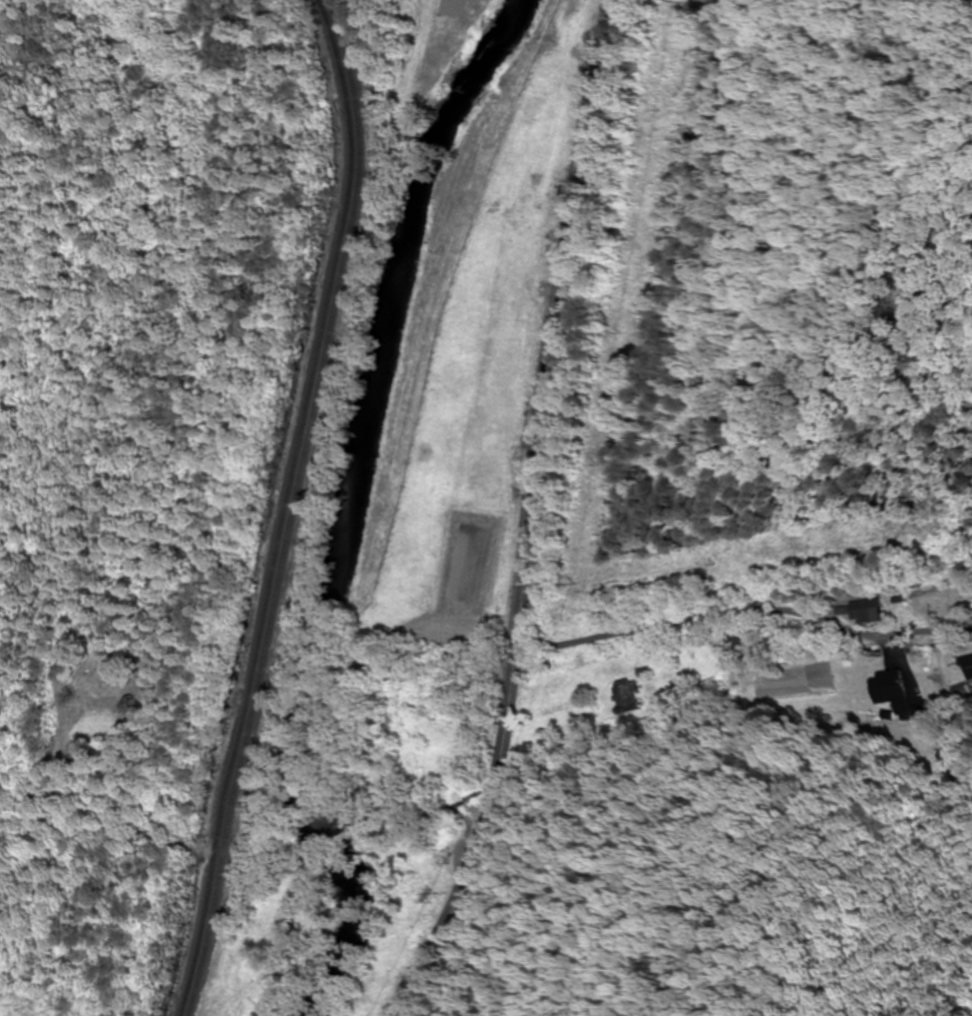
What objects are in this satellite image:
river: (347, 506)
railway: (294, 507)
road: (528, 516)
road: (744, 597)
building: (867, 612)
building: (968, 667)
park: (99, 669)
building: (890, 692)
building: (628, 698)

